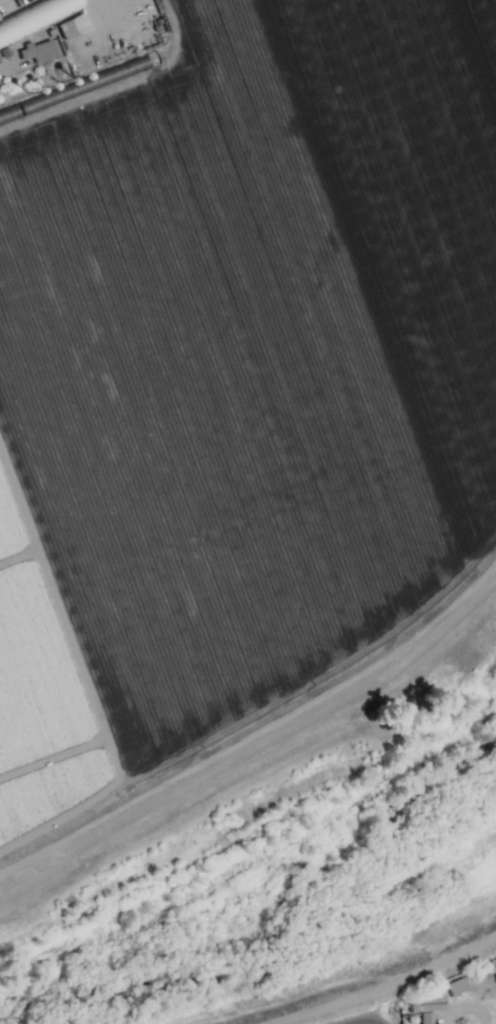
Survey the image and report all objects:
building: (35, 16)
building: (71, 25)
building: (37, 50)
building: (110, 73)
crop: (229, 427)
river: (276, 909)
building: (455, 985)
crop: (443, 1002)
building: (425, 1003)
building: (425, 1017)

